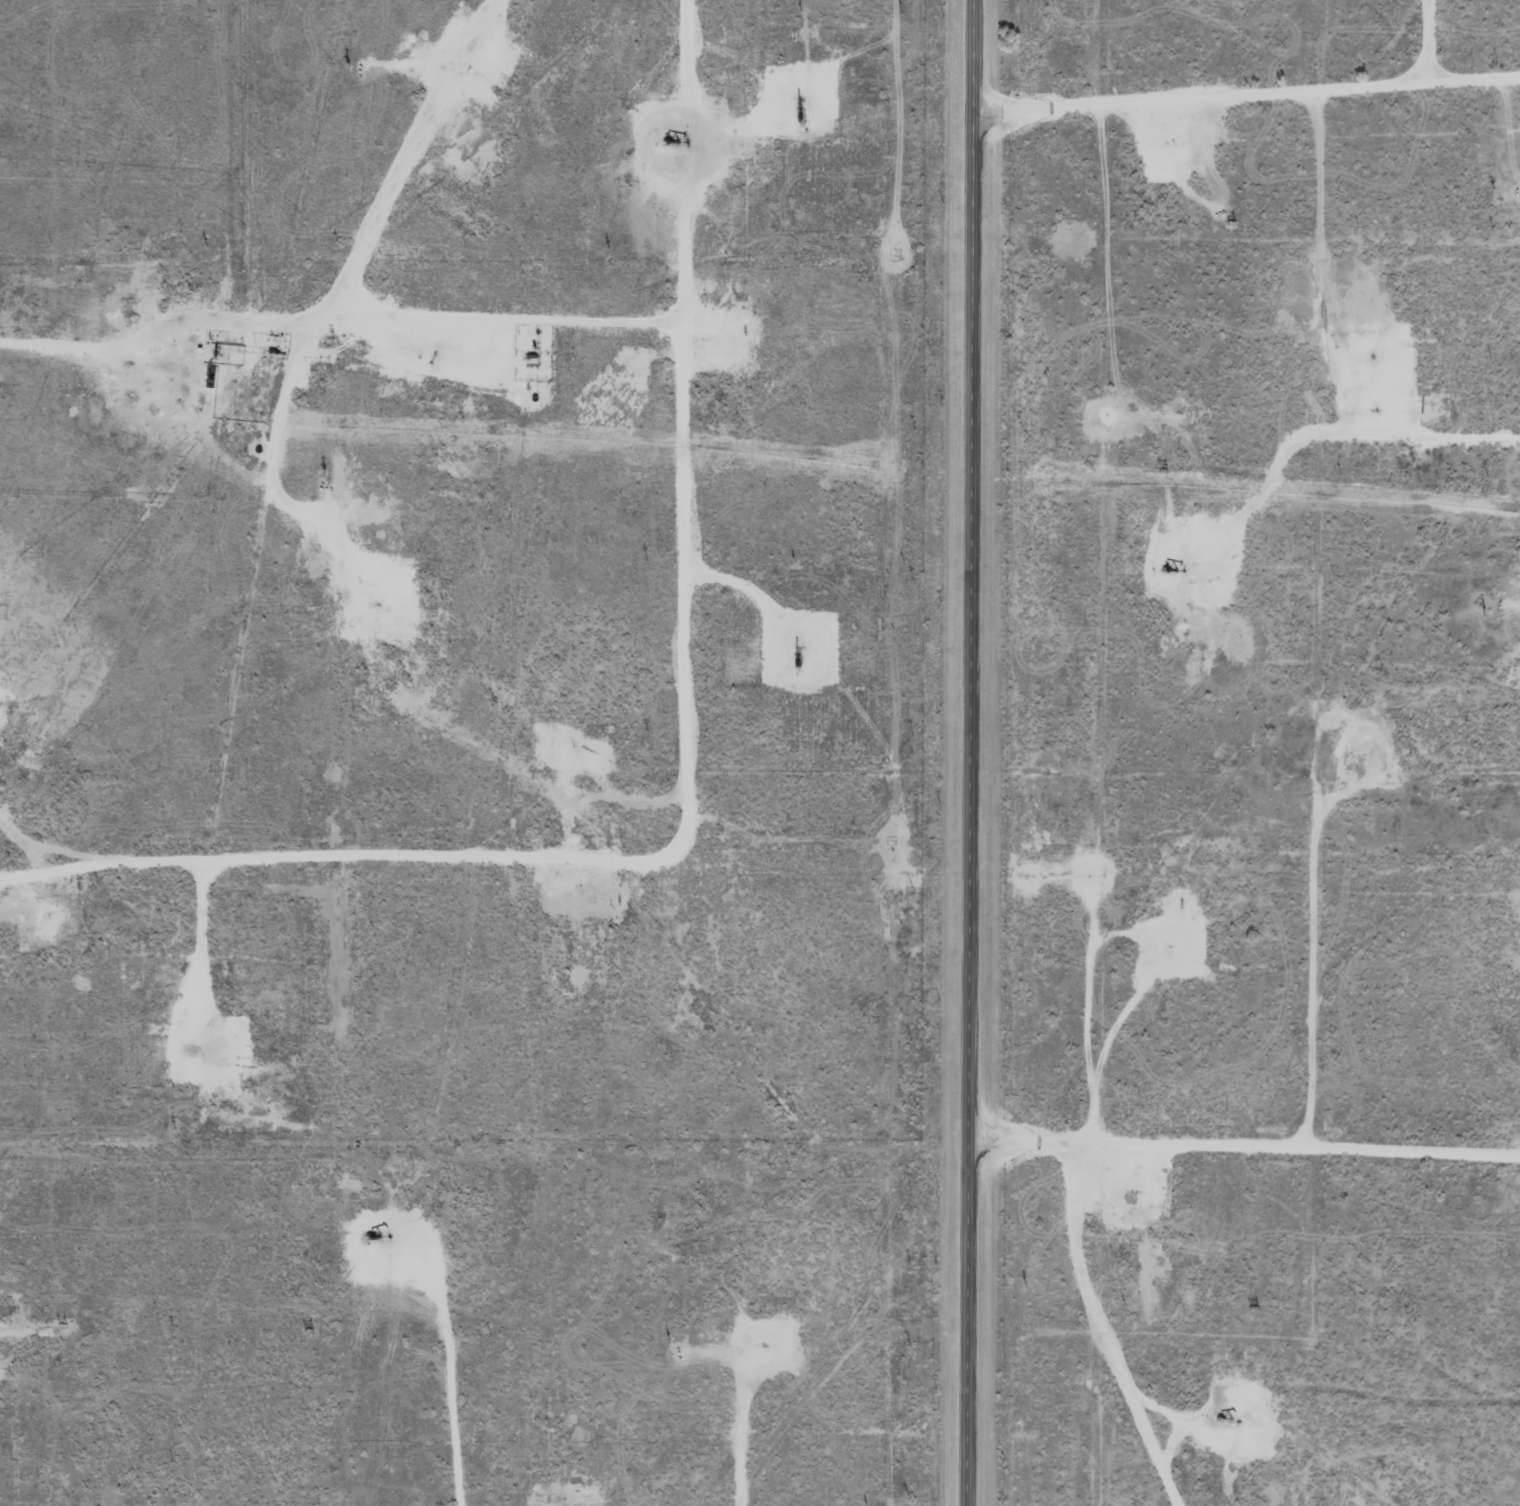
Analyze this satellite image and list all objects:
road: (1245, 65)
road: (303, 398)
road: (688, 752)
road: (968, 752)
road: (1243, 1109)
road: (1101, 1314)

